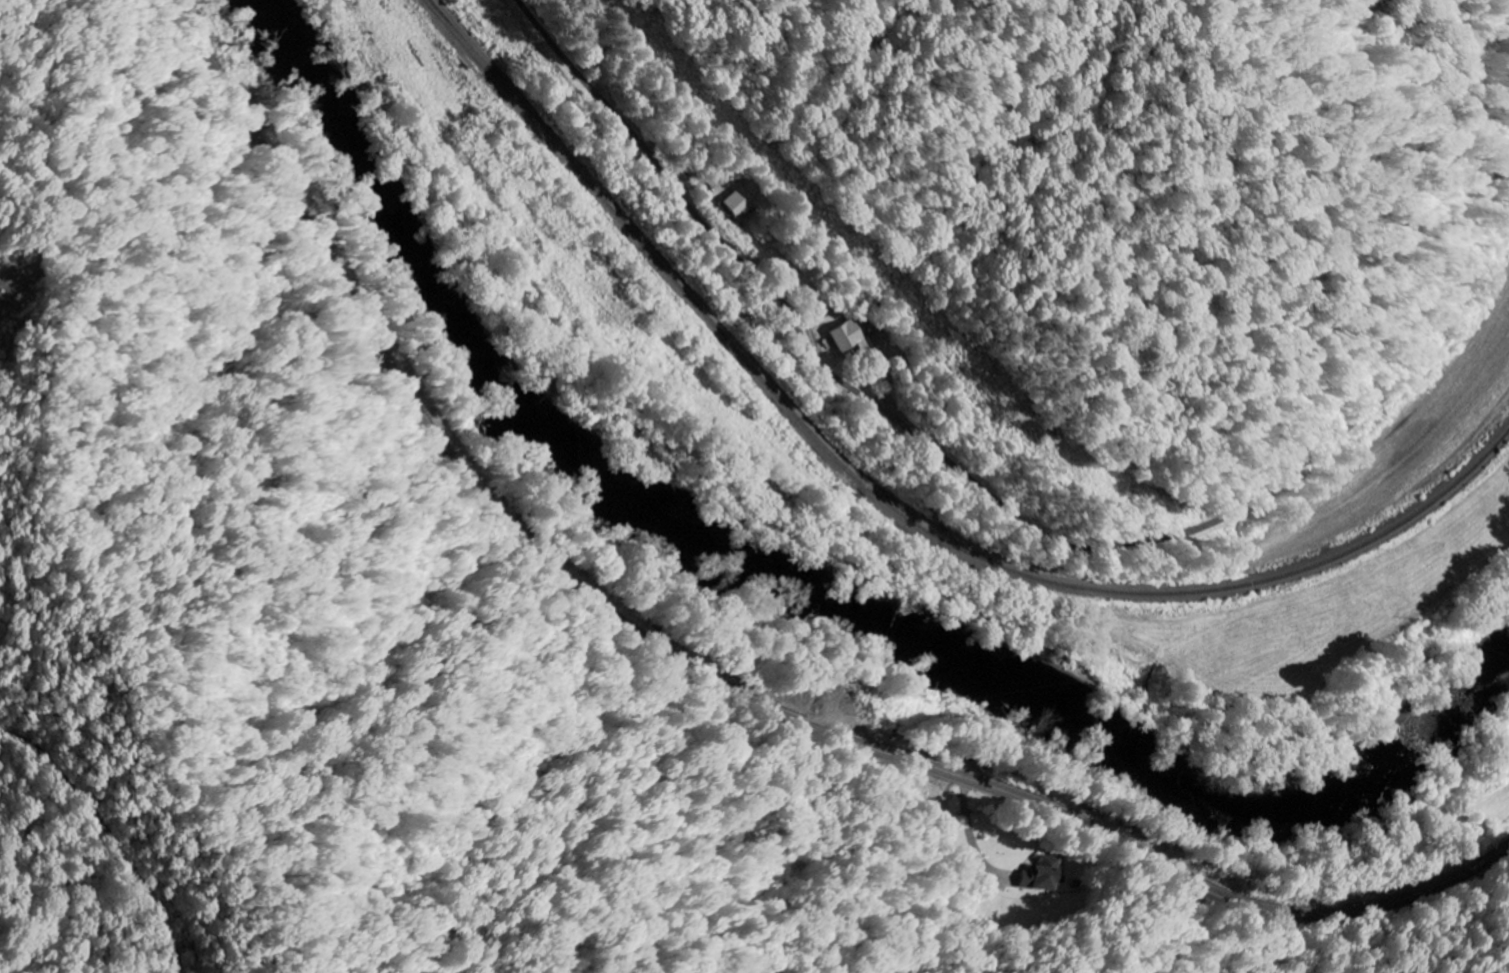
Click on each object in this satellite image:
building: (736, 204)
building: (845, 337)
road: (981, 486)
railway: (891, 506)
river: (790, 580)
road: (700, 673)
building: (1043, 873)

